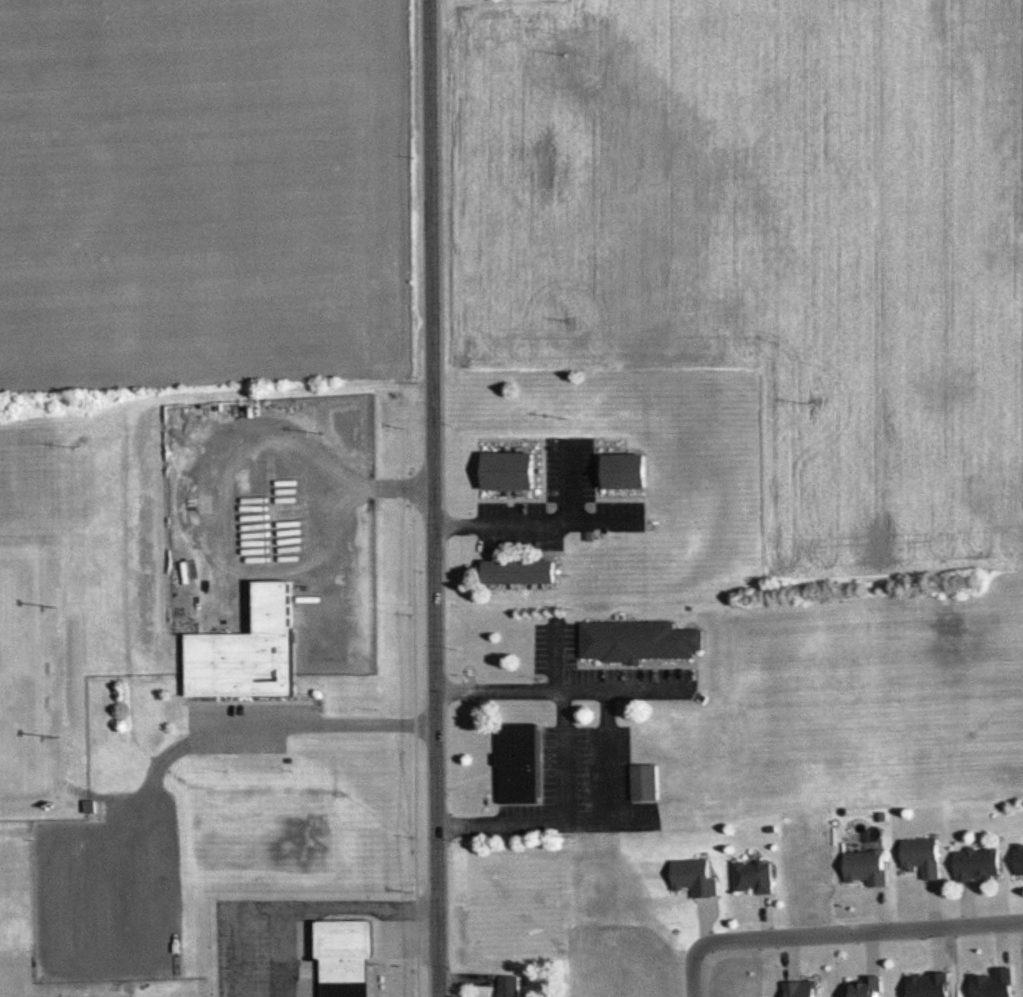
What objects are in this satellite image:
building: (628, 469)
building: (511, 471)
road: (433, 498)
road: (320, 512)
road: (534, 518)
building: (523, 571)
building: (640, 640)
building: (250, 650)
park: (9, 662)
road: (565, 756)
building: (521, 763)
building: (647, 781)
building: (923, 856)
building: (1020, 859)
building: (979, 864)
building: (868, 867)
building: (697, 876)
building: (755, 876)
road: (860, 933)
building: (348, 957)
road: (690, 970)
building: (994, 983)
building: (510, 986)
building: (802, 988)
building: (866, 989)

